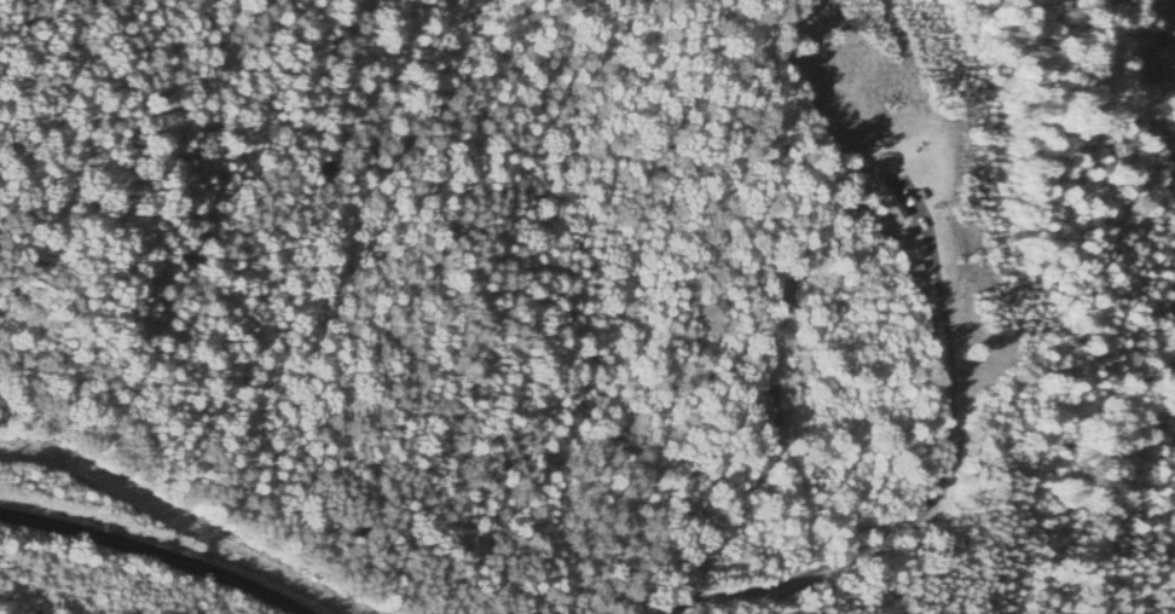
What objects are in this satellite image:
building: (886, 199)
road: (163, 540)

